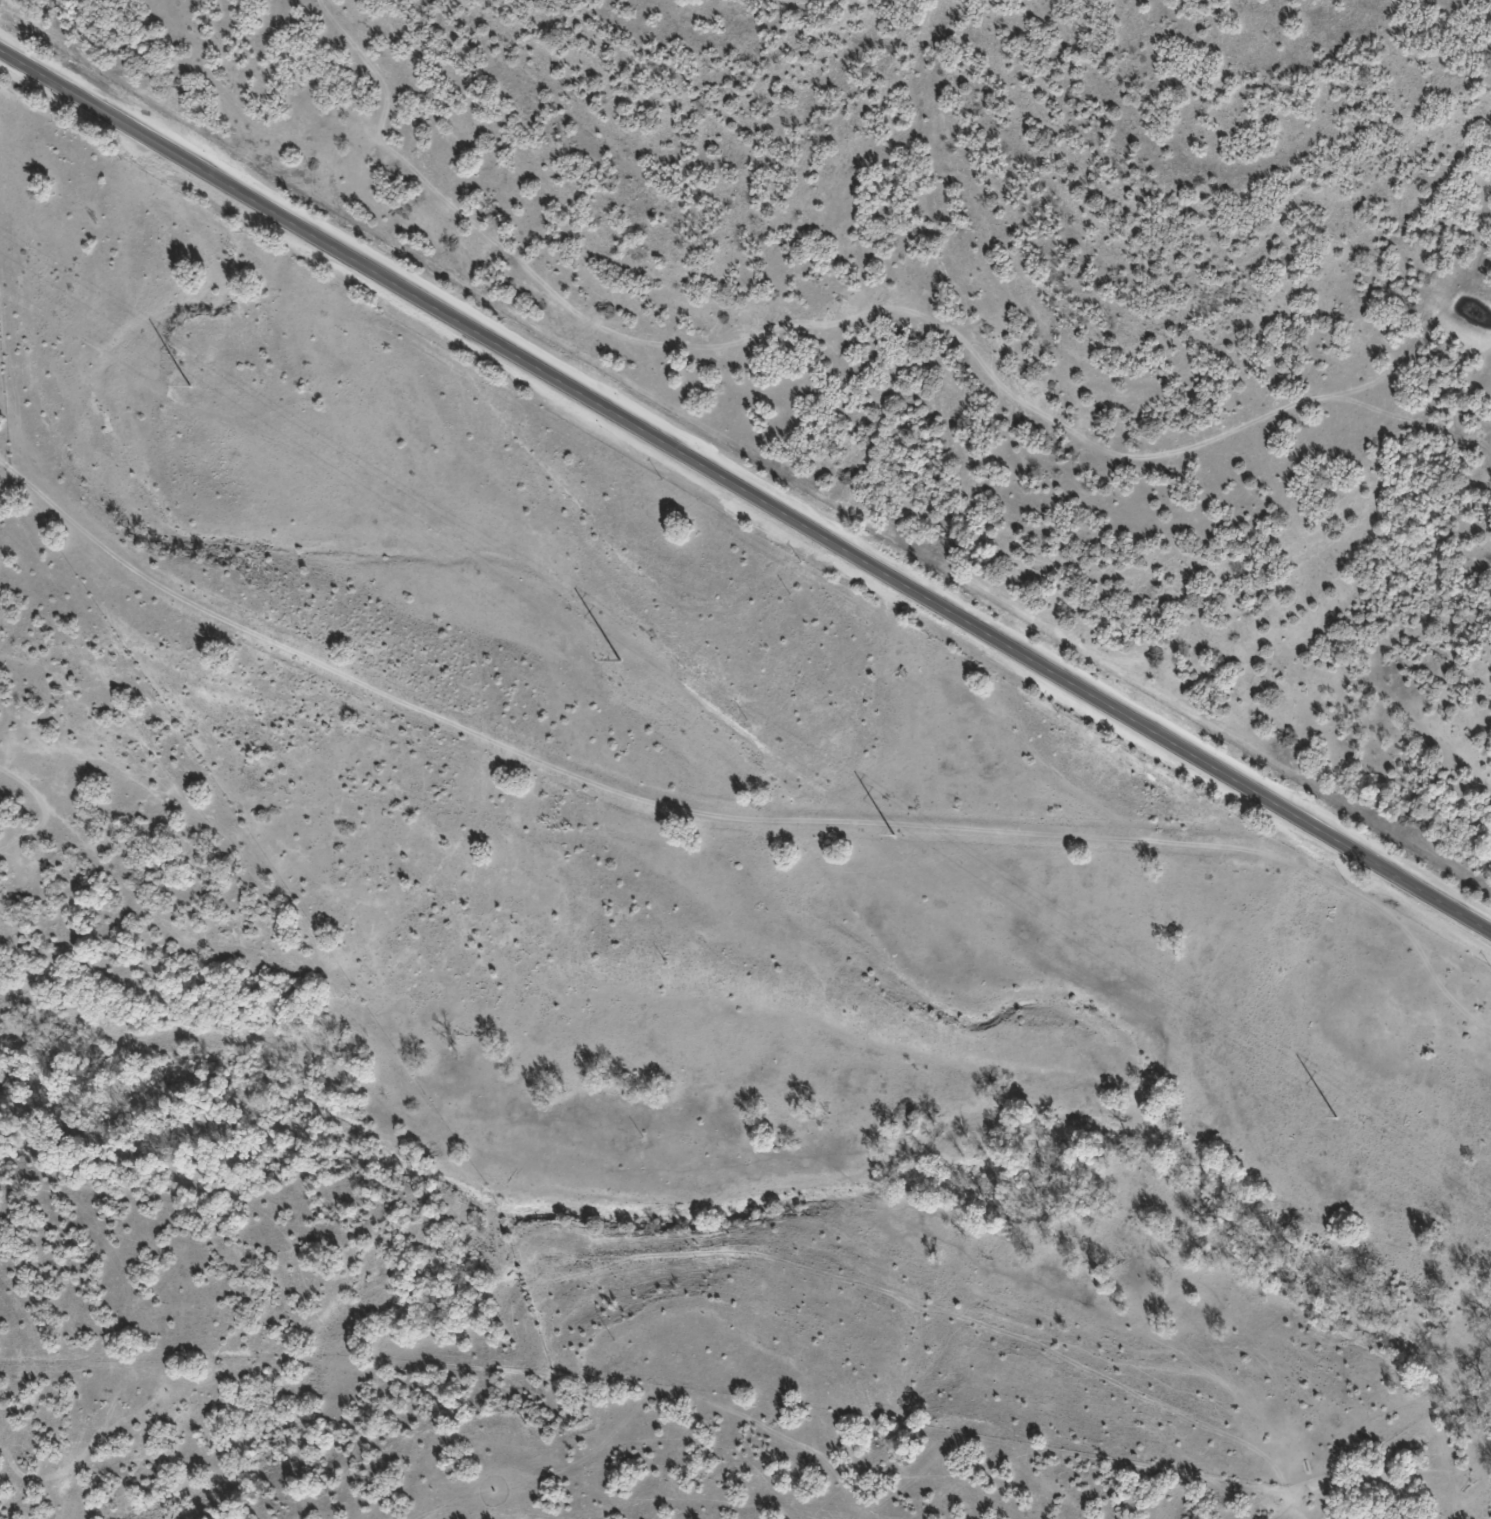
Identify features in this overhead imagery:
power tower: (190, 388)
road: (745, 490)
power tower: (618, 660)
power tower: (892, 834)
power tower: (1335, 1117)

